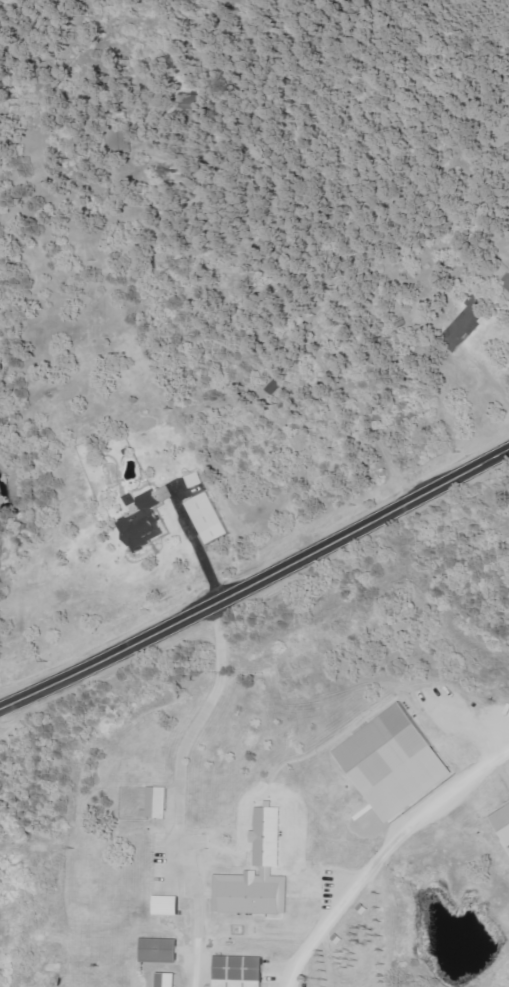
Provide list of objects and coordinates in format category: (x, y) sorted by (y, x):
road: (425, 233)
building: (469, 321)
building: (210, 519)
building: (147, 526)
road: (256, 576)
building: (399, 763)
road: (128, 793)
building: (159, 803)
building: (504, 821)
road: (377, 850)
building: (259, 875)
building: (168, 905)
building: (161, 950)
building: (241, 971)

